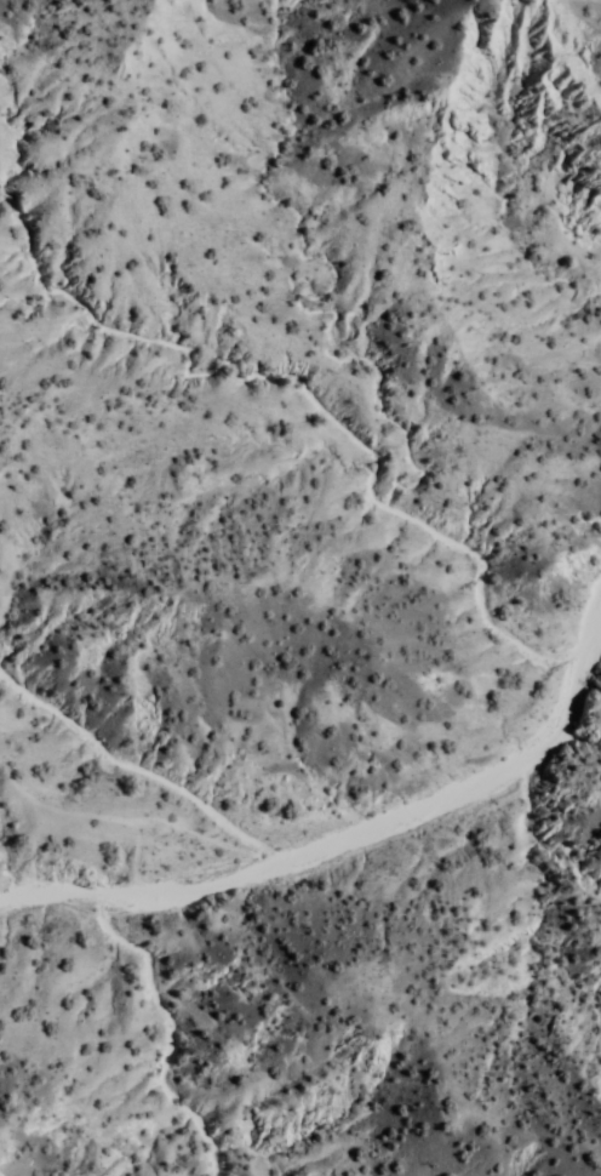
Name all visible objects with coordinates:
road: (331, 832)

